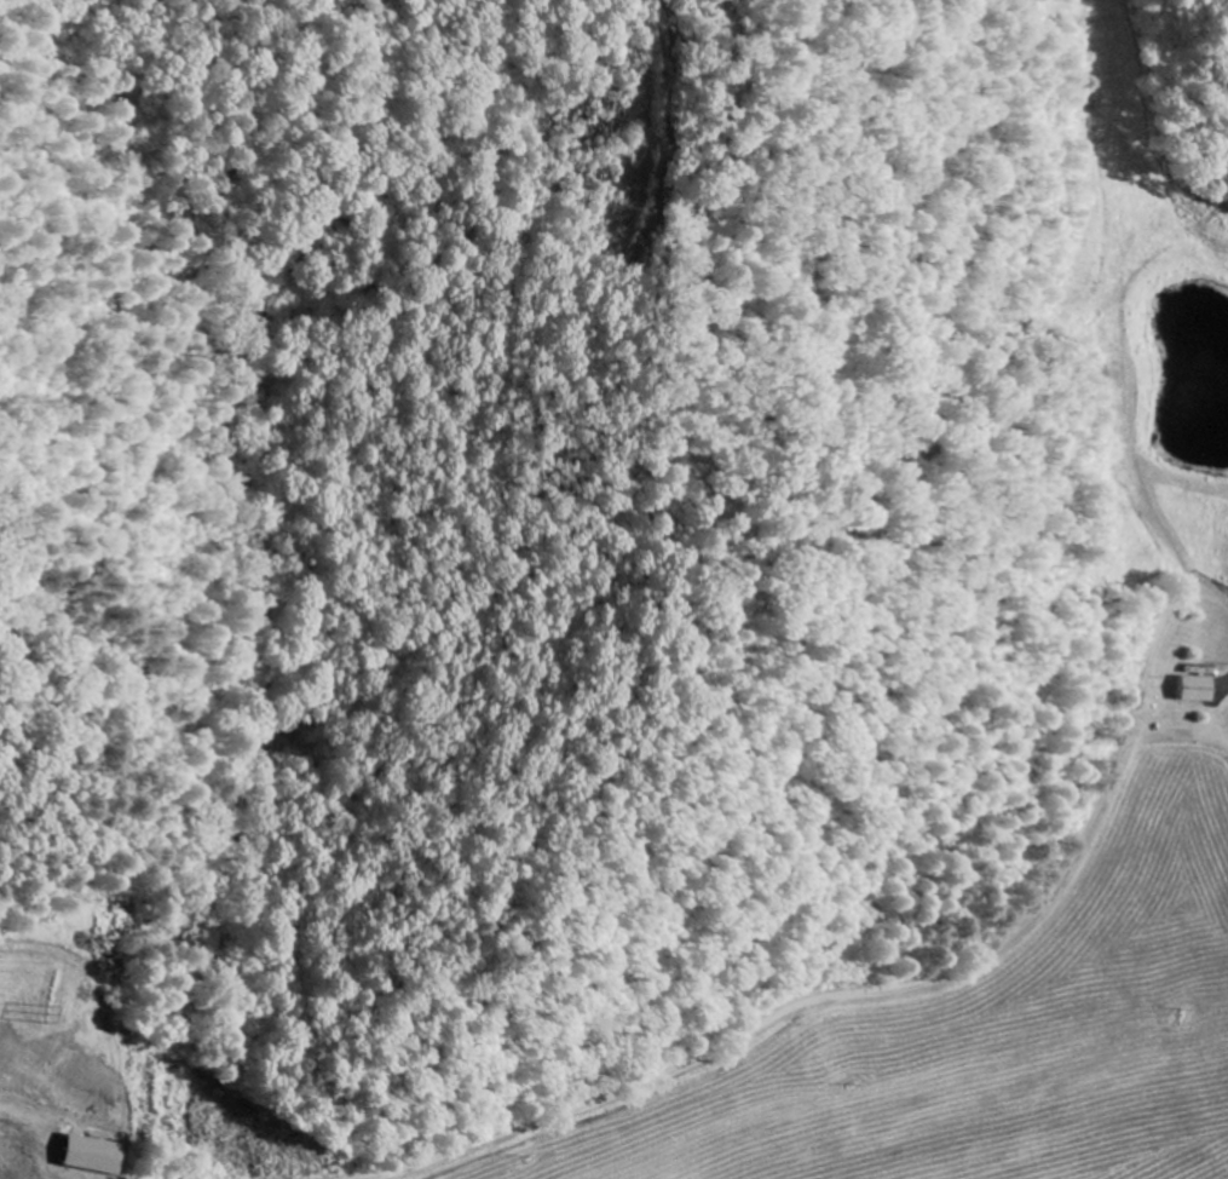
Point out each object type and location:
building: (1198, 690)
road: (890, 990)
power tower: (54, 1012)
building: (88, 1156)

